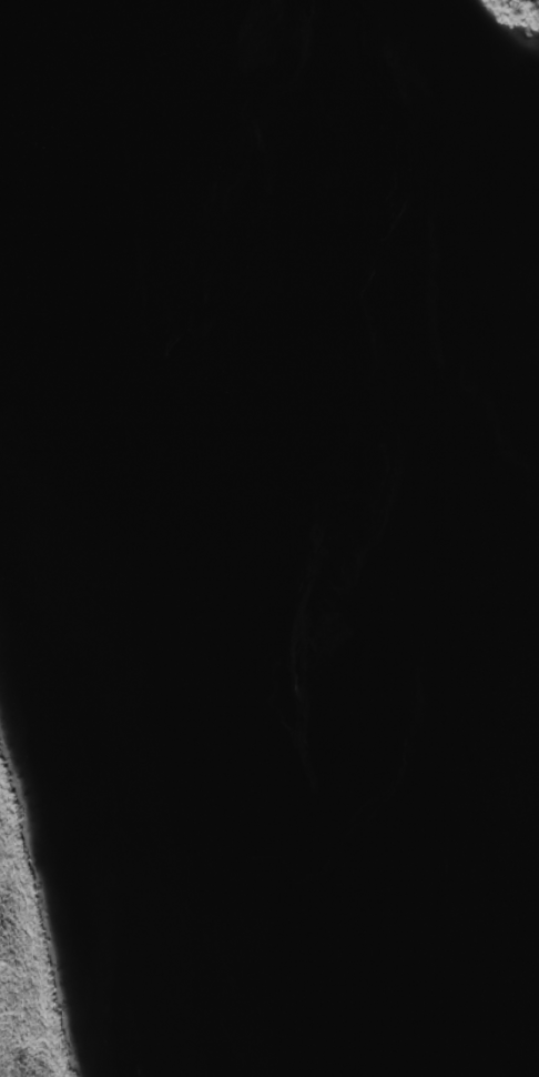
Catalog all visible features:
river: (297, 531)

